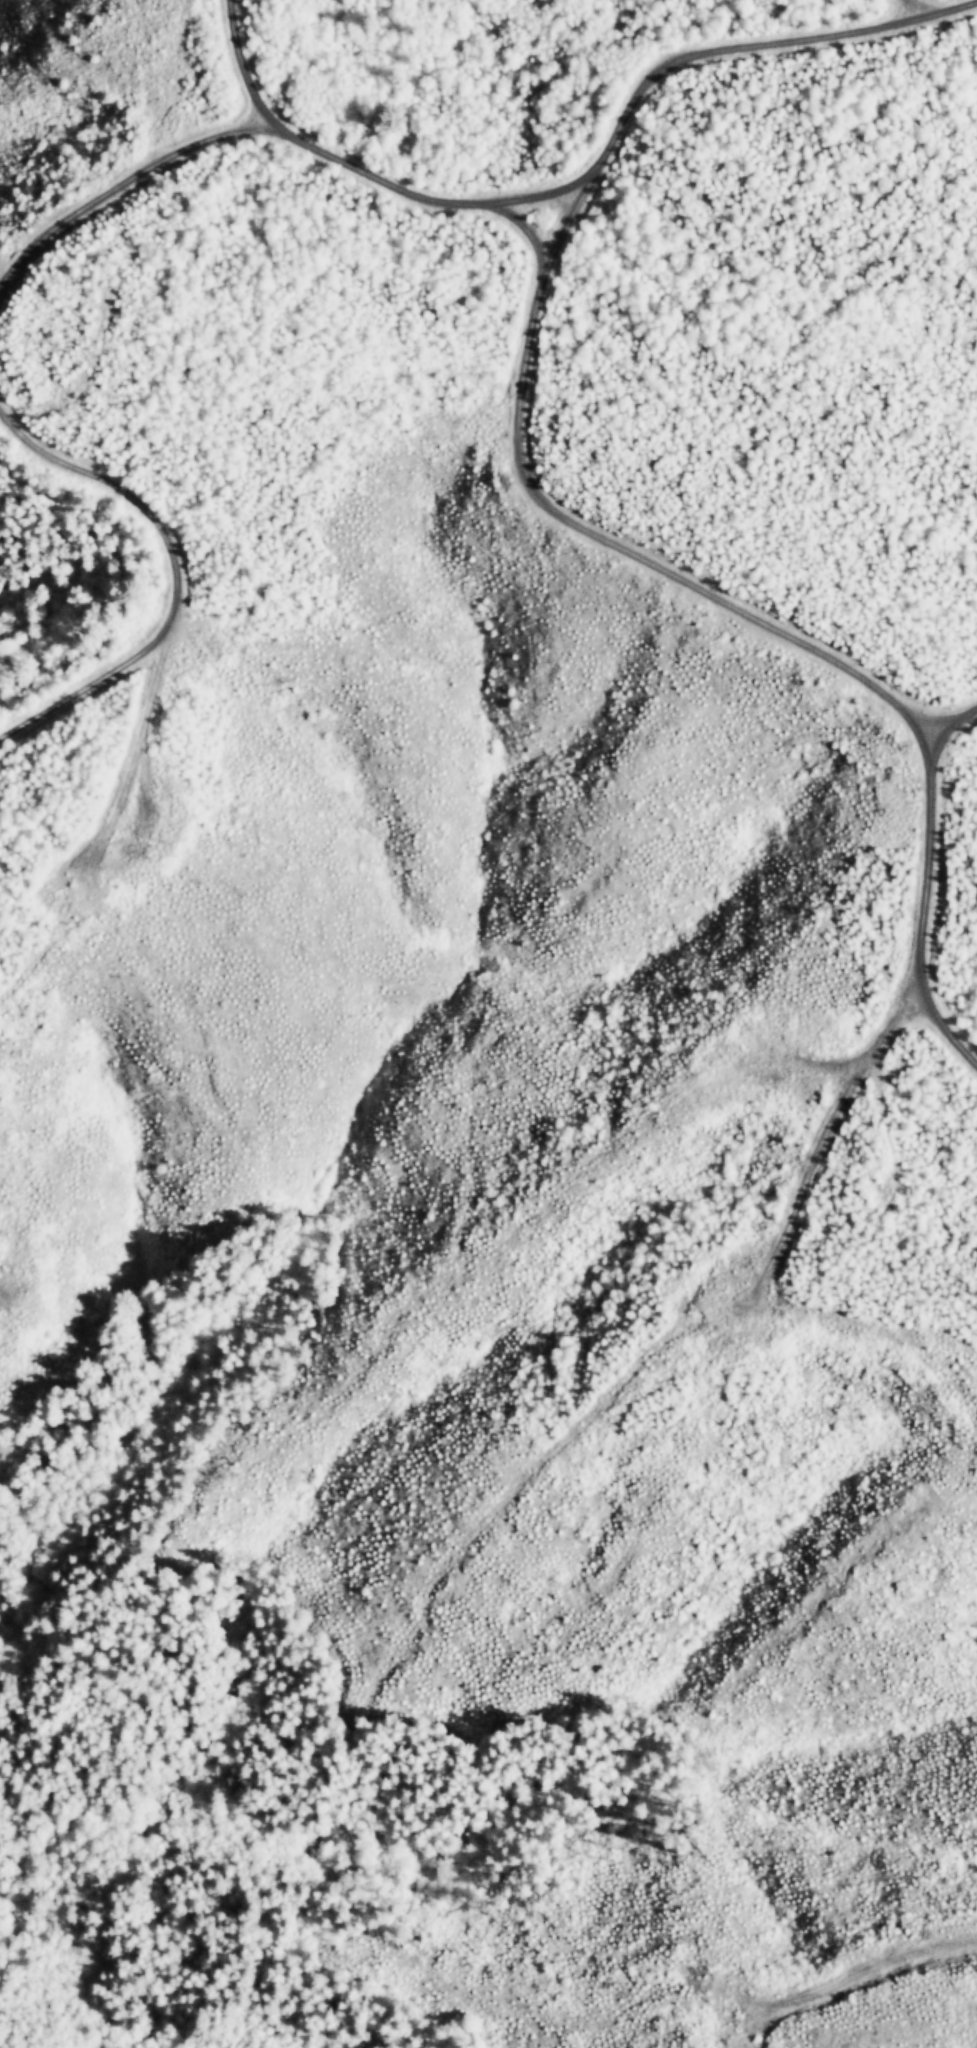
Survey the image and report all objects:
road: (900, 8)
road: (698, 50)
road: (352, 167)
road: (126, 197)
road: (508, 197)
road: (126, 578)
road: (795, 638)
road: (951, 721)

